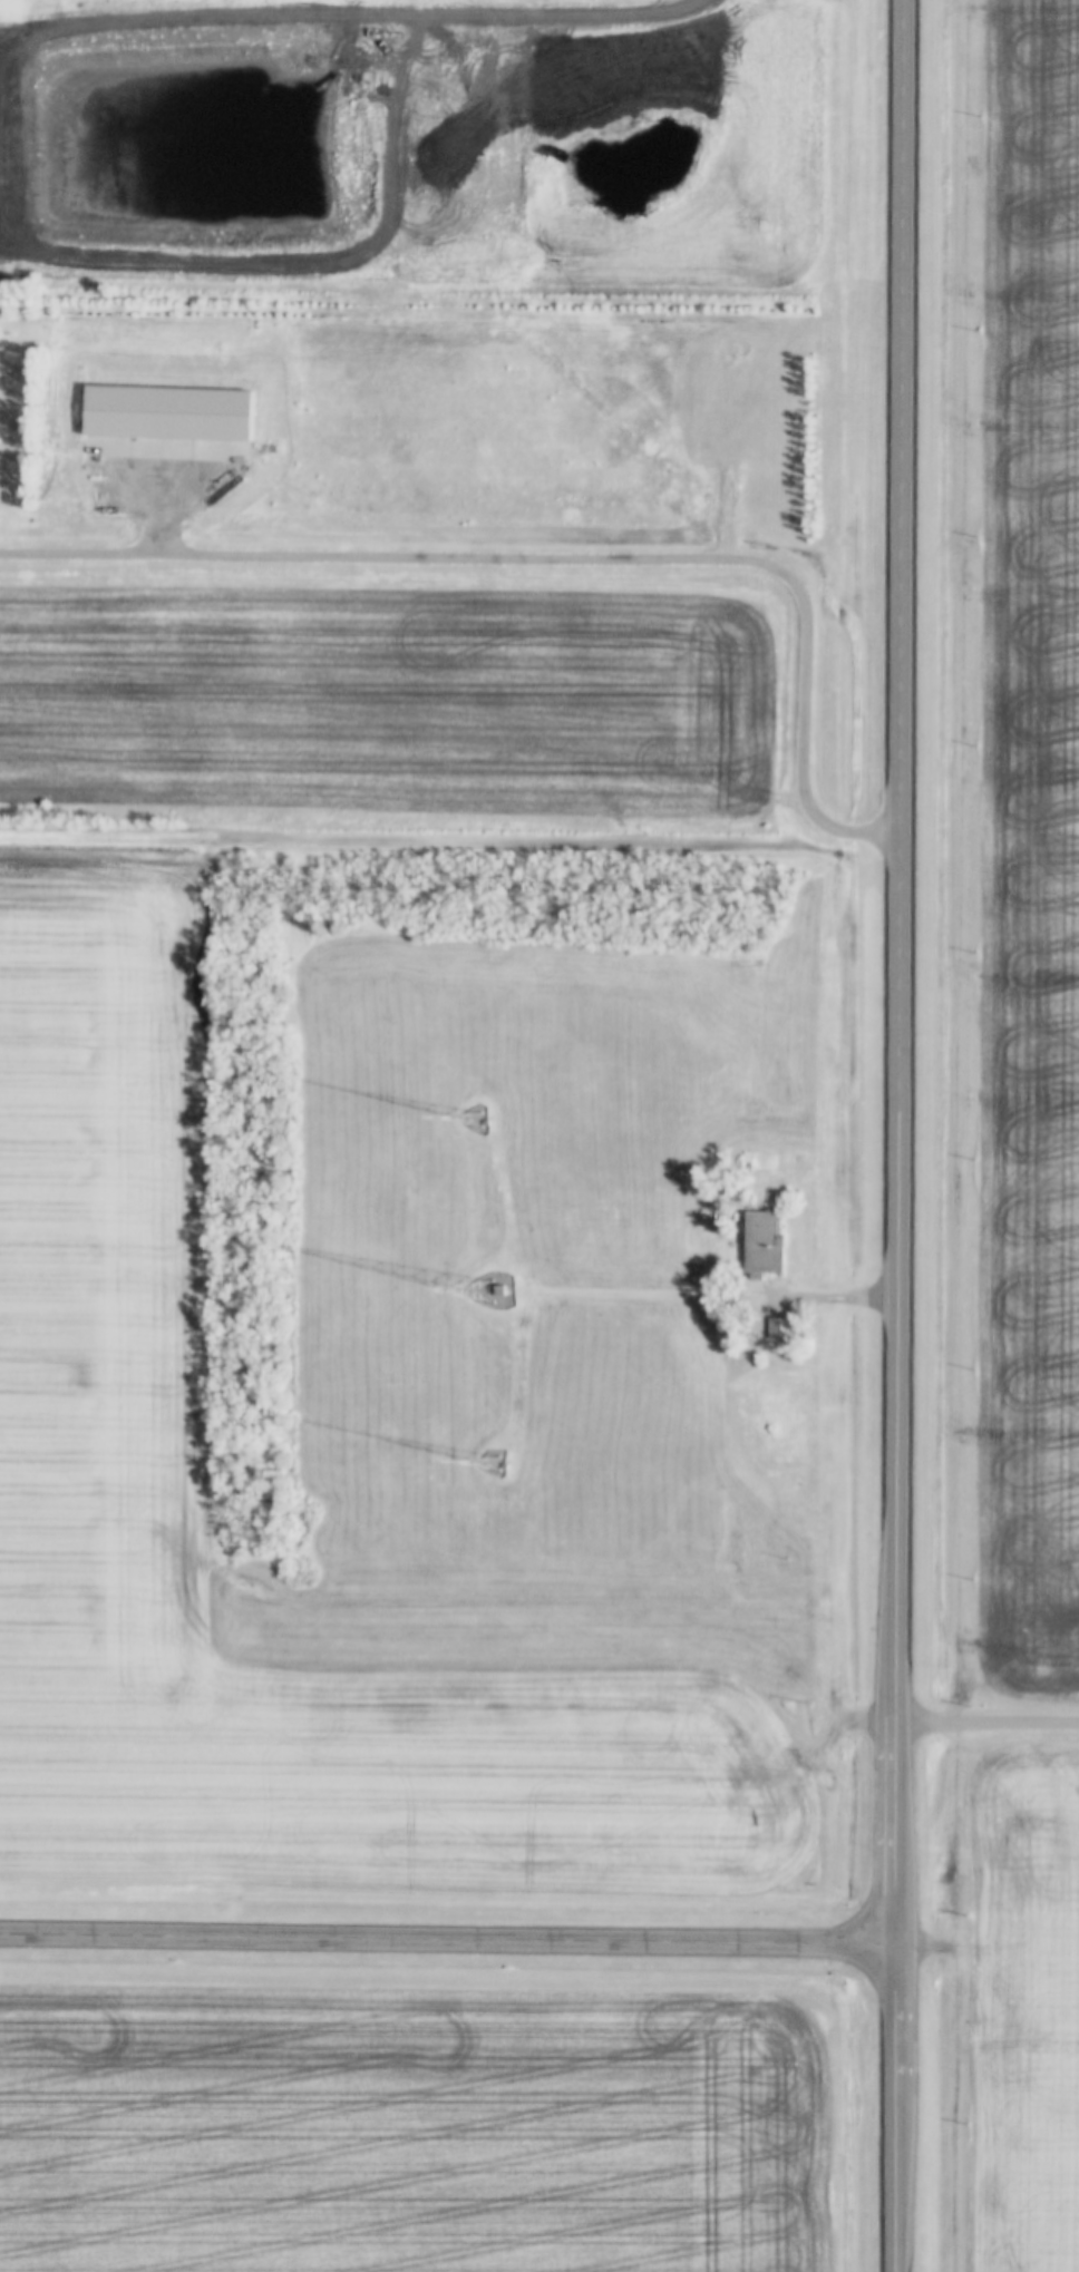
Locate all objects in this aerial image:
road: (567, 560)
road: (898, 974)
road: (989, 1720)
road: (449, 1942)
road: (897, 2109)

